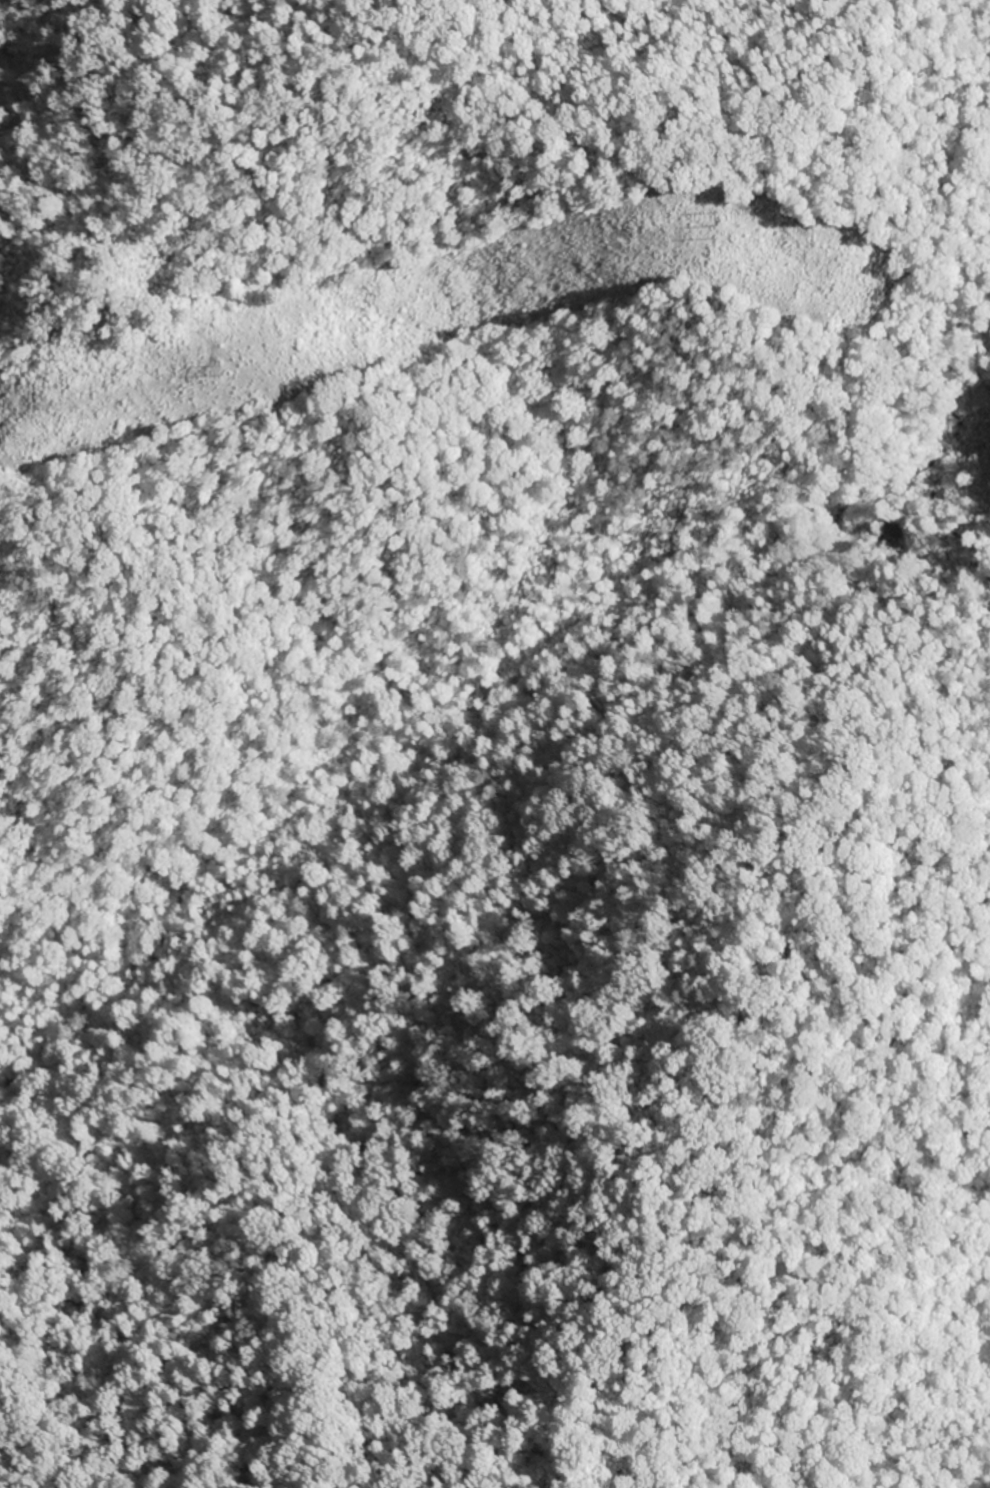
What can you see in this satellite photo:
road: (618, 610)

